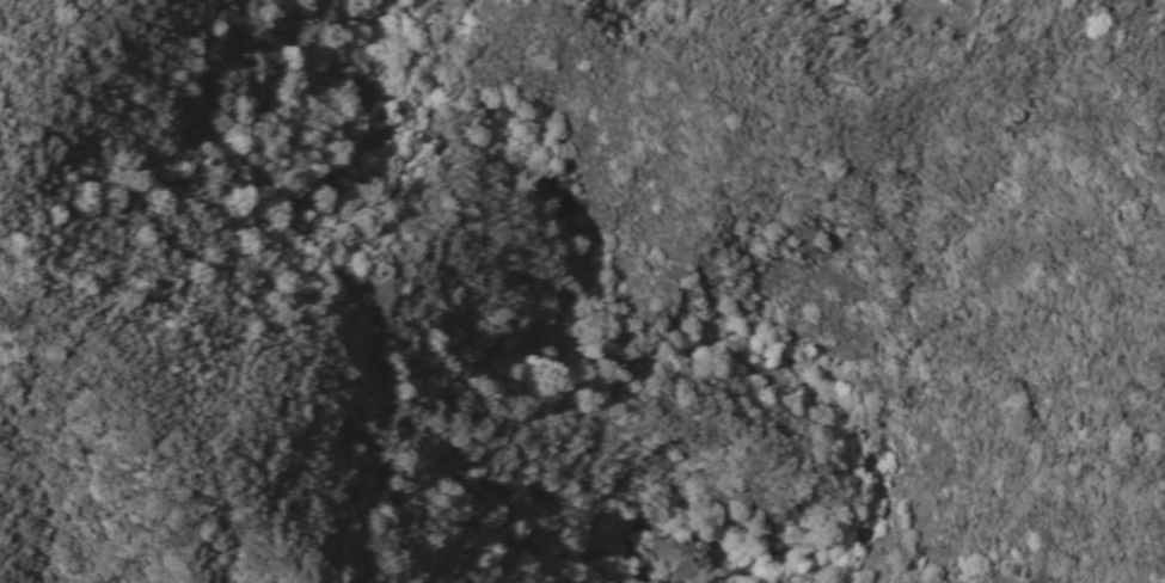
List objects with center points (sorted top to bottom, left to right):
road: (196, 228)
road: (1067, 268)

